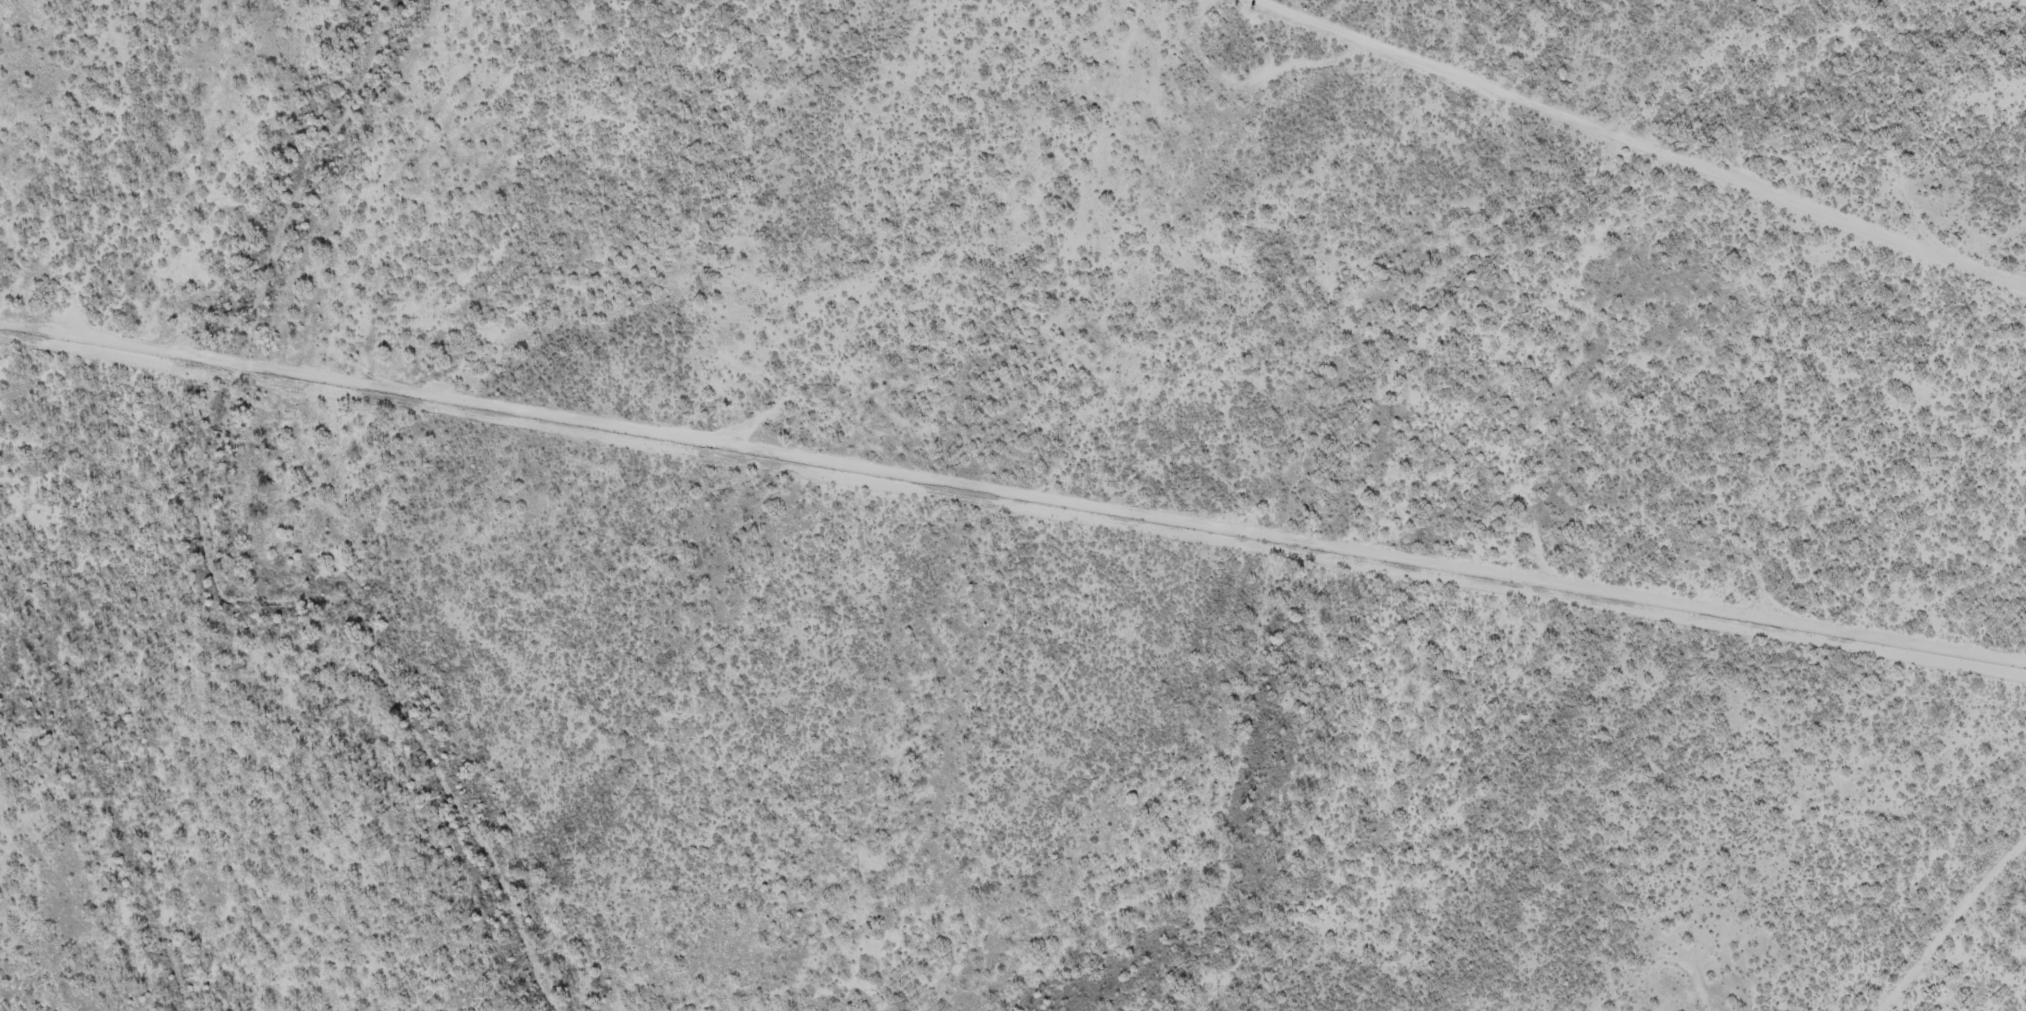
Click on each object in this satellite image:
road: (1013, 502)

